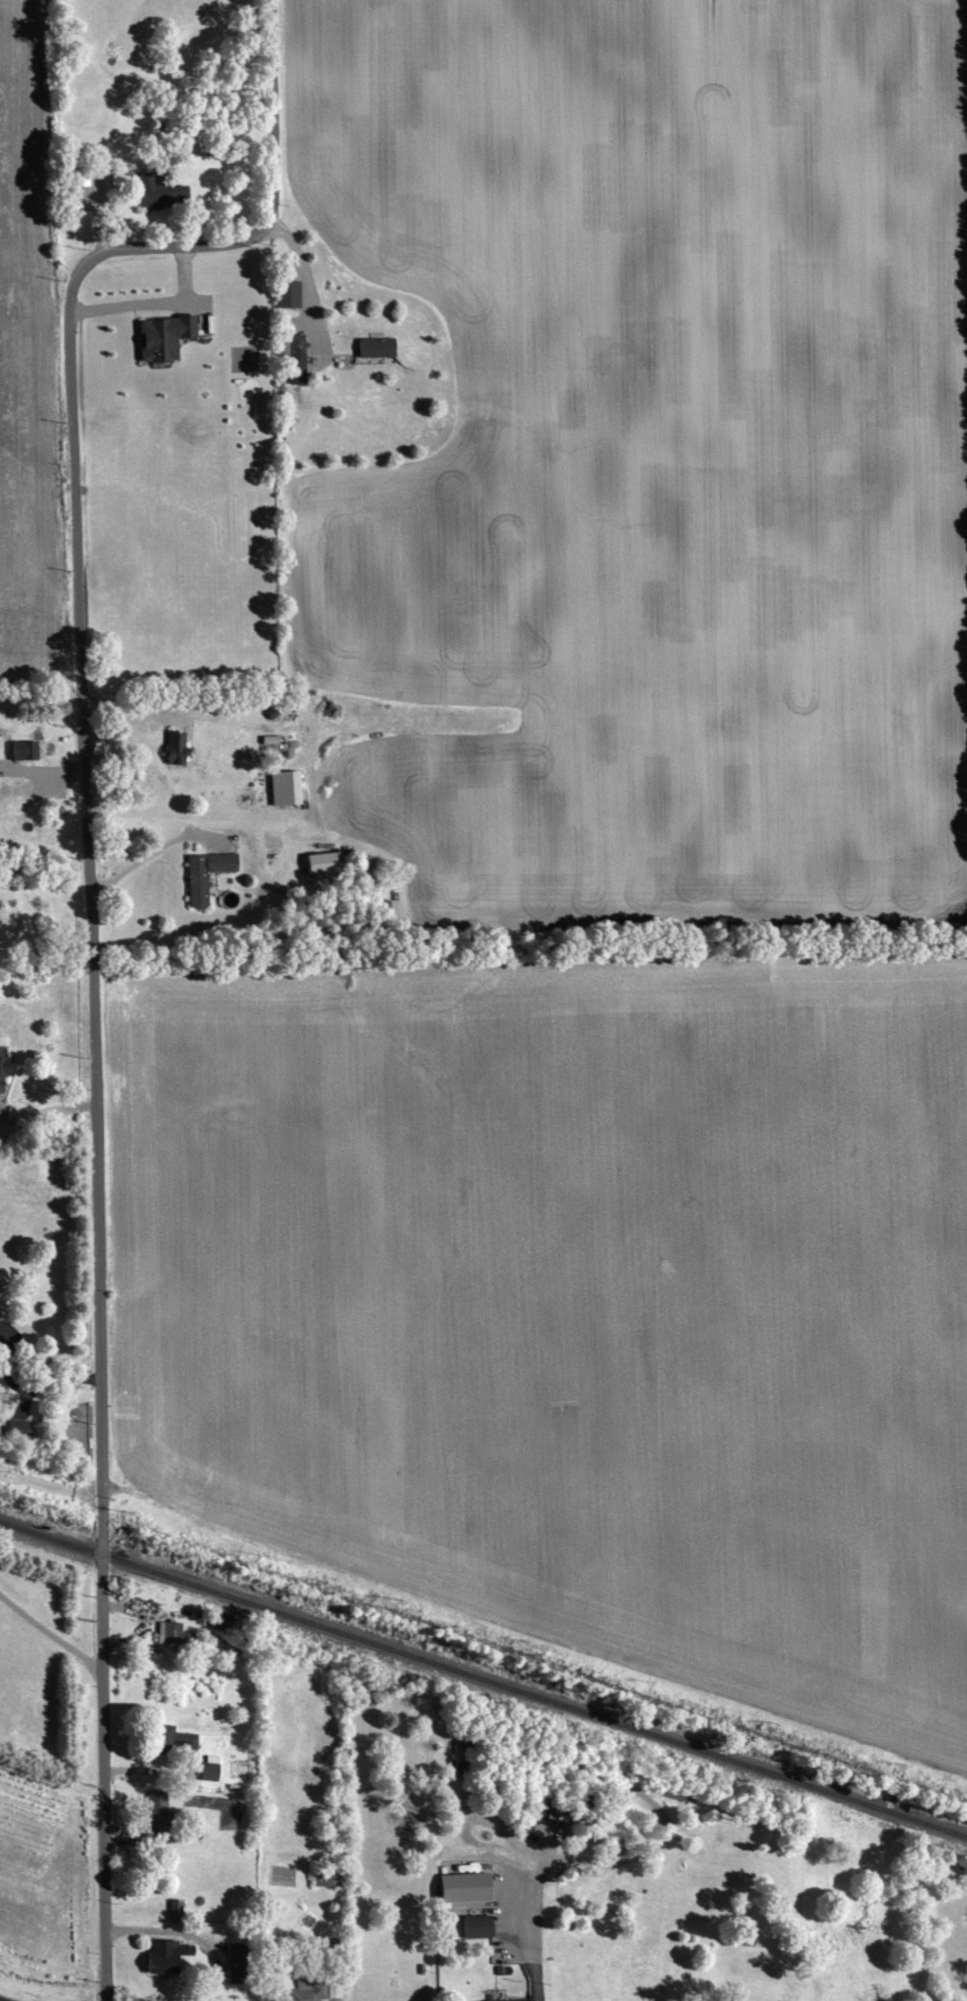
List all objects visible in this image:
road: (272, 111)
building: (157, 190)
road: (304, 278)
building: (287, 293)
building: (162, 336)
building: (374, 347)
building: (295, 359)
building: (174, 748)
building: (23, 750)
building: (0, 758)
building: (284, 788)
road: (154, 848)
building: (321, 863)
building: (205, 874)
road: (92, 1033)
building: (3, 1065)
road: (46, 1103)
road: (43, 1365)
road: (8, 1380)
road: (22, 1403)
building: (15, 1427)
building: (169, 1632)
road: (50, 1635)
railway: (483, 1680)
building: (175, 1738)
building: (208, 1768)
building: (154, 1804)
building: (463, 1886)
building: (175, 1909)
building: (476, 1926)
road: (166, 1932)
road: (524, 1939)
building: (161, 1955)
building: (237, 1962)
building: (313, 1990)
building: (508, 2000)

